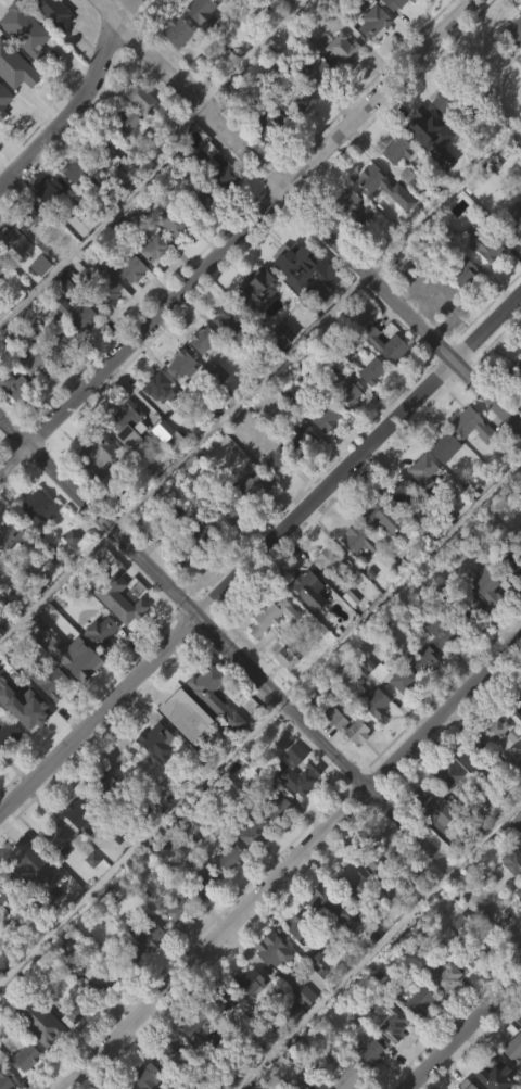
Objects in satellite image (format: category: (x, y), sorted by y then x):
building: (224, 0)
building: (409, 0)
building: (393, 3)
building: (255, 5)
building: (51, 13)
building: (201, 13)
building: (338, 14)
building: (224, 16)
building: (373, 22)
building: (270, 23)
building: (389, 24)
building: (176, 31)
building: (513, 31)
building: (49, 45)
building: (198, 45)
building: (342, 49)
road: (250, 50)
building: (371, 56)
building: (22, 64)
building: (513, 65)
building: (175, 66)
building: (276, 71)
building: (315, 72)
building: (340, 84)
building: (140, 98)
building: (292, 100)
road: (78, 102)
building: (13, 103)
building: (310, 105)
building: (443, 105)
building: (260, 118)
building: (125, 121)
building: (423, 128)
building: (3, 131)
building: (138, 134)
building: (291, 136)
building: (439, 136)
building: (1, 148)
building: (100, 148)
building: (395, 150)
building: (123, 155)
building: (263, 156)
building: (422, 163)
building: (216, 168)
building: (75, 169)
building: (377, 181)
building: (393, 185)
building: (49, 190)
building: (106, 192)
building: (199, 199)
road: (444, 199)
building: (348, 204)
building: (369, 212)
building: (27, 213)
road: (310, 215)
building: (513, 217)
building: (175, 219)
building: (47, 225)
building: (201, 232)
building: (7, 235)
road: (238, 237)
building: (343, 237)
building: (483, 242)
building: (153, 246)
building: (29, 250)
building: (288, 252)
building: (510, 253)
building: (169, 256)
building: (1, 263)
building: (316, 266)
building: (128, 268)
building: (461, 270)
building: (293, 277)
building: (481, 278)
building: (151, 283)
building: (254, 288)
building: (431, 289)
building: (105, 290)
building: (0, 301)
building: (298, 301)
building: (128, 303)
building: (458, 305)
building: (75, 313)
building: (227, 316)
building: (253, 321)
building: (105, 324)
building: (429, 326)
building: (55, 338)
building: (201, 338)
building: (385, 341)
building: (73, 347)
building: (225, 355)
building: (33, 360)
building: (181, 363)
building: (370, 368)
building: (279, 369)
building: (512, 372)
building: (200, 373)
building: (59, 376)
building: (382, 379)
building: (14, 384)
building: (520, 384)
building: (157, 387)
building: (29, 395)
building: (345, 395)
building: (179, 398)
building: (368, 403)
building: (216, 406)
building: (514, 406)
building: (11, 417)
building: (325, 417)
building: (155, 421)
building: (127, 423)
building: (471, 425)
building: (345, 429)
building: (298, 438)
building: (444, 445)
building: (322, 452)
building: (96, 454)
building: (171, 455)
building: (125, 458)
building: (468, 459)
building: (275, 463)
building: (423, 469)
building: (164, 470)
building: (301, 470)
building: (441, 481)
building: (252, 484)
building: (94, 489)
building: (399, 493)
building: (274, 497)
building: (419, 505)
building: (39, 508)
building: (230, 509)
building: (378, 516)
building: (252, 520)
building: (396, 527)
building: (204, 530)
building: (9, 534)
building: (354, 536)
building: (35, 542)
building: (225, 545)
road: (259, 552)
building: (183, 553)
building: (378, 554)
building: (328, 558)
building: (0, 559)
building: (511, 559)
building: (199, 562)
building: (68, 571)
building: (354, 573)
building: (487, 585)
building: (307, 588)
building: (181, 590)
building: (323, 595)
building: (128, 597)
building: (511, 598)
building: (462, 607)
building: (274, 616)
building: (484, 619)
building: (305, 623)
building: (99, 630)
building: (442, 631)
building: (468, 644)
building: (269, 650)
building: (81, 660)
building: (423, 660)
building: (98, 663)
building: (437, 663)
road: (260, 679)
building: (402, 679)
building: (49, 681)
building: (206, 684)
building: (282, 692)
building: (422, 696)
building: (517, 696)
building: (371, 704)
building: (20, 706)
building: (399, 713)
building: (47, 717)
building: (517, 717)
building: (347, 725)
building: (211, 730)
building: (498, 730)
building: (7, 733)
building: (372, 737)
building: (156, 739)
building: (516, 744)
building: (182, 749)
building: (469, 752)
building: (345, 760)
building: (492, 763)
building: (7, 768)
building: (509, 770)
building: (154, 776)
building: (295, 776)
building: (446, 776)
building: (472, 777)
building: (100, 782)
building: (516, 797)
building: (274, 805)
building: (432, 805)
building: (295, 811)
building: (84, 812)
building: (102, 814)
building: (253, 833)
road: (485, 833)
building: (270, 836)
building: (52, 838)
building: (431, 840)
building: (76, 850)
building: (372, 850)
building: (227, 857)
building: (25, 861)
road: (293, 863)
building: (510, 863)
building: (251, 868)
building: (51, 872)
building: (351, 882)
building: (203, 884)
building: (4, 887)
building: (374, 887)
building: (114, 891)
building: (227, 891)
building: (518, 891)
building: (88, 894)
building: (23, 895)
building: (331, 904)
building: (512, 904)
building: (177, 908)
building: (201, 917)
building: (295, 927)
building: (2, 928)
building: (145, 933)
building: (175, 941)
building: (328, 941)
building: (0, 947)
building: (271, 950)
building: (474, 952)
building: (455, 958)
building: (294, 959)
building: (123, 960)
building: (145, 967)
building: (99, 973)
building: (445, 975)
road: (342, 979)
building: (247, 983)
building: (268, 985)
building: (129, 987)
building: (472, 987)
building: (303, 993)
building: (219, 998)
building: (419, 1001)
building: (281, 1004)
building: (76, 1010)
building: (440, 1010)
building: (98, 1013)
building: (245, 1014)
building: (38, 1022)
building: (391, 1022)
building: (196, 1026)
building: (298, 1027)
road: (465, 1031)
building: (220, 1034)
building: (417, 1035)
building: (72, 1046)
building: (513, 1046)
building: (173, 1050)
building: (369, 1052)
building: (390, 1056)
building: (23, 1058)
building: (193, 1060)
building: (223, 1064)
building: (493, 1074)
building: (145, 1076)
building: (342, 1077)
building: (511, 1079)
building: (5, 1080)
building: (168, 1080)
building: (370, 1080)
building: (307, 1081)
building: (25, 1084)
building: (264, 1085)
building: (463, 1085)
building: (122, 1088)

